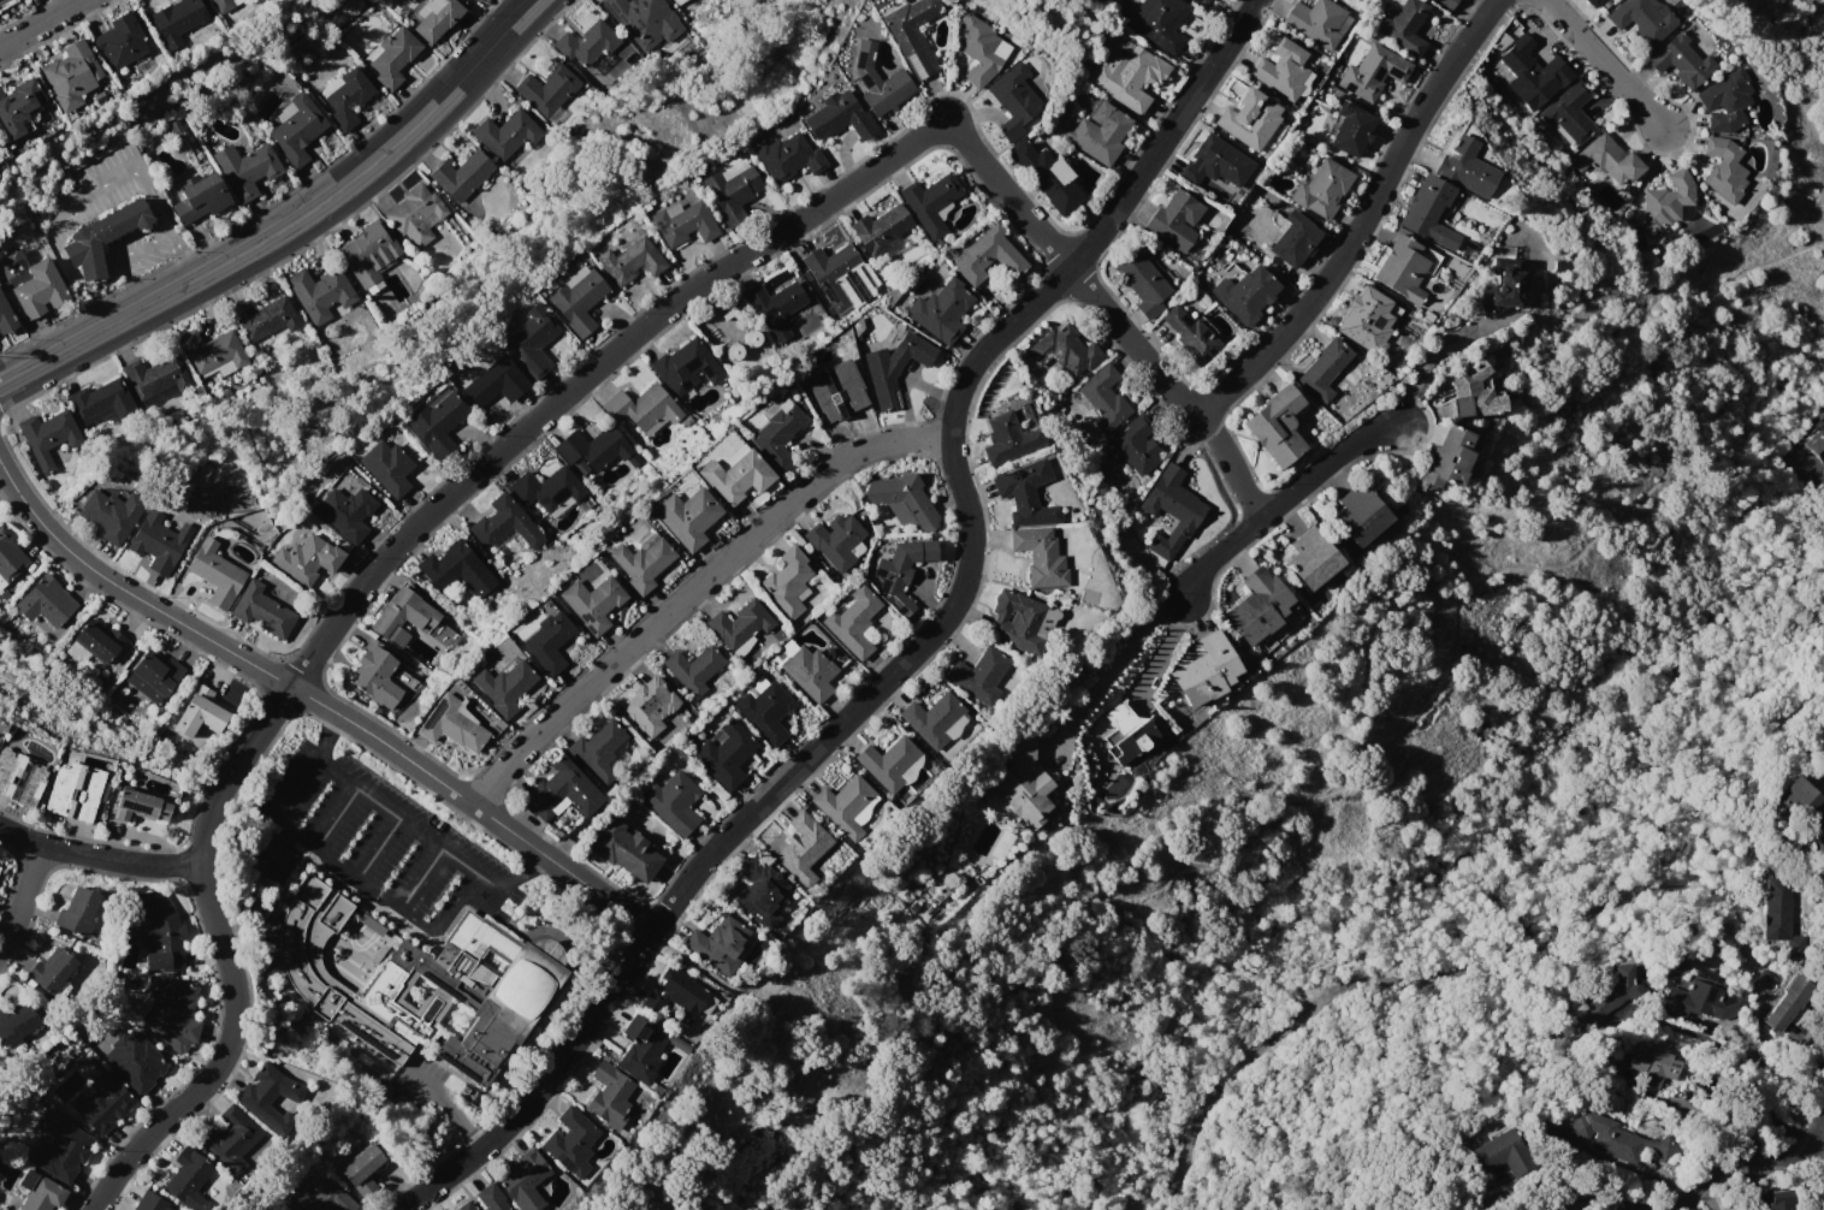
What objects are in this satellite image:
building: (472, 0)
building: (473, 0)
building: (676, 1)
building: (1206, 1)
building: (1592, 2)
building: (1445, 4)
building: (223, 5)
building: (436, 18)
building: (177, 19)
building: (1642, 19)
building: (1317, 22)
road: (41, 23)
building: (644, 23)
building: (1159, 24)
building: (1403, 26)
building: (911, 35)
building: (120, 41)
building: (585, 42)
building: (979, 49)
building: (393, 57)
building: (1681, 61)
road: (1604, 64)
building: (1532, 69)
building: (1284, 71)
building: (1373, 72)
building: (71, 75)
building: (1129, 76)
building: (878, 82)
building: (547, 90)
building: (348, 99)
building: (1013, 101)
building: (1725, 101)
building: (18, 107)
building: (1570, 112)
building: (839, 117)
building: (1252, 123)
building: (1351, 129)
building: (296, 131)
building: (1096, 132)
building: (508, 134)
building: (787, 156)
building: (1607, 160)
building: (1218, 165)
building: (1465, 167)
building: (245, 168)
building: (1723, 168)
building: (1046, 174)
building: (461, 176)
building: (1321, 189)
building: (732, 190)
building: (199, 197)
road: (148, 200)
building: (1666, 200)
building: (930, 202)
building: (1428, 212)
building: (416, 215)
building: (1175, 220)
building: (683, 223)
road: (1362, 223)
road: (291, 224)
building: (882, 232)
building: (100, 237)
road: (51, 239)
building: (1293, 239)
building: (369, 253)
road: (178, 255)
building: (987, 255)
building: (629, 260)
road: (1061, 260)
road: (89, 269)
building: (1400, 269)
building: (842, 278)
building: (1143, 284)
building: (1504, 285)
building: (39, 289)
building: (320, 290)
building: (1245, 293)
building: (578, 299)
building: (775, 308)
building: (941, 312)
building: (6, 318)
building: (265, 318)
building: (1366, 321)
building: (1191, 336)
building: (532, 340)
building: (212, 350)
building: (1064, 350)
road: (1435, 354)
building: (685, 367)
building: (894, 367)
building: (1323, 369)
building: (155, 375)
building: (495, 382)
building: (837, 391)
building: (1473, 393)
building: (1103, 397)
building: (102, 401)
building: (642, 407)
road: (1192, 415)
building: (438, 422)
building: (1277, 426)
building: (777, 431)
building: (1011, 434)
building: (48, 435)
building: (1816, 445)
building: (1133, 446)
building: (593, 447)
building: (1447, 458)
building: (387, 468)
road: (1811, 474)
road: (1234, 475)
building: (735, 478)
building: (545, 488)
building: (1025, 493)
road: (1285, 499)
building: (902, 500)
building: (1171, 510)
building: (347, 511)
building: (111, 514)
building: (1361, 514)
building: (686, 517)
building: (504, 523)
building: (159, 541)
building: (835, 541)
building: (1040, 556)
building: (10, 558)
building: (307, 558)
building: (1311, 558)
building: (641, 562)
building: (456, 569)
building: (902, 571)
building: (215, 574)
road: (367, 576)
building: (788, 583)
road: (693, 589)
building: (45, 603)
building: (593, 603)
building: (1259, 607)
building: (262, 611)
building: (402, 616)
building: (1020, 621)
building: (853, 622)
building: (739, 624)
road: (1368, 630)
building: (442, 635)
building: (97, 640)
building: (549, 641)
road: (919, 647)
road: (1163, 647)
road: (1123, 652)
building: (693, 669)
building: (804, 669)
building: (1206, 670)
building: (153, 676)
building: (375, 676)
building: (979, 676)
building: (504, 687)
road: (319, 704)
building: (650, 704)
building: (764, 710)
building: (200, 712)
building: (935, 720)
building: (451, 725)
road: (328, 729)
building: (1127, 731)
building: (1822, 745)
building: (1823, 751)
building: (597, 752)
building: (724, 754)
road: (1369, 759)
building: (890, 764)
building: (22, 778)
building: (1020, 788)
building: (76, 791)
building: (561, 791)
building: (1798, 795)
building: (673, 802)
building: (140, 805)
building: (846, 806)
park: (1358, 808)
road: (336, 814)
road: (408, 820)
road: (378, 844)
building: (801, 848)
building: (623, 849)
road: (276, 850)
road: (99, 853)
road: (528, 862)
road: (421, 874)
road: (367, 883)
building: (762, 892)
road: (1111, 892)
road: (22, 895)
building: (78, 912)
building: (1778, 912)
building: (161, 936)
building: (718, 944)
building: (55, 972)
building: (424, 985)
building: (680, 997)
building: (1700, 1002)
building: (1787, 1002)
building: (172, 1013)
building: (20, 1020)
road: (1686, 1030)
building: (99, 1042)
road: (1262, 1044)
building: (644, 1050)
building: (134, 1062)
building: (1610, 1064)
building: (1652, 1064)
road: (1781, 1080)
building: (609, 1096)
building: (263, 1097)
building: (102, 1103)
building: (1617, 1139)
building: (232, 1140)
building: (572, 1141)
building: (59, 1147)
building: (1503, 1153)
building: (362, 1165)
road: (1743, 1167)
building: (523, 1180)
building: (199, 1181)
building: (1823, 1188)
building: (39, 1192)
building: (318, 1198)
building: (492, 1198)
building: (1778, 1200)
building: (150, 1202)
building: (1823, 1205)
building: (463, 1206)
road: (1582, 1206)
building: (1823, 1209)

